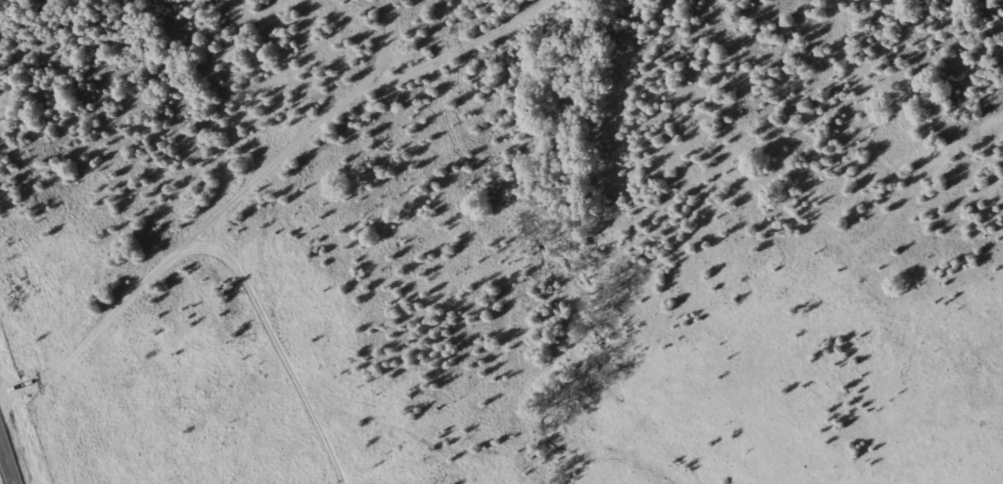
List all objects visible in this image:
road: (8, 458)

